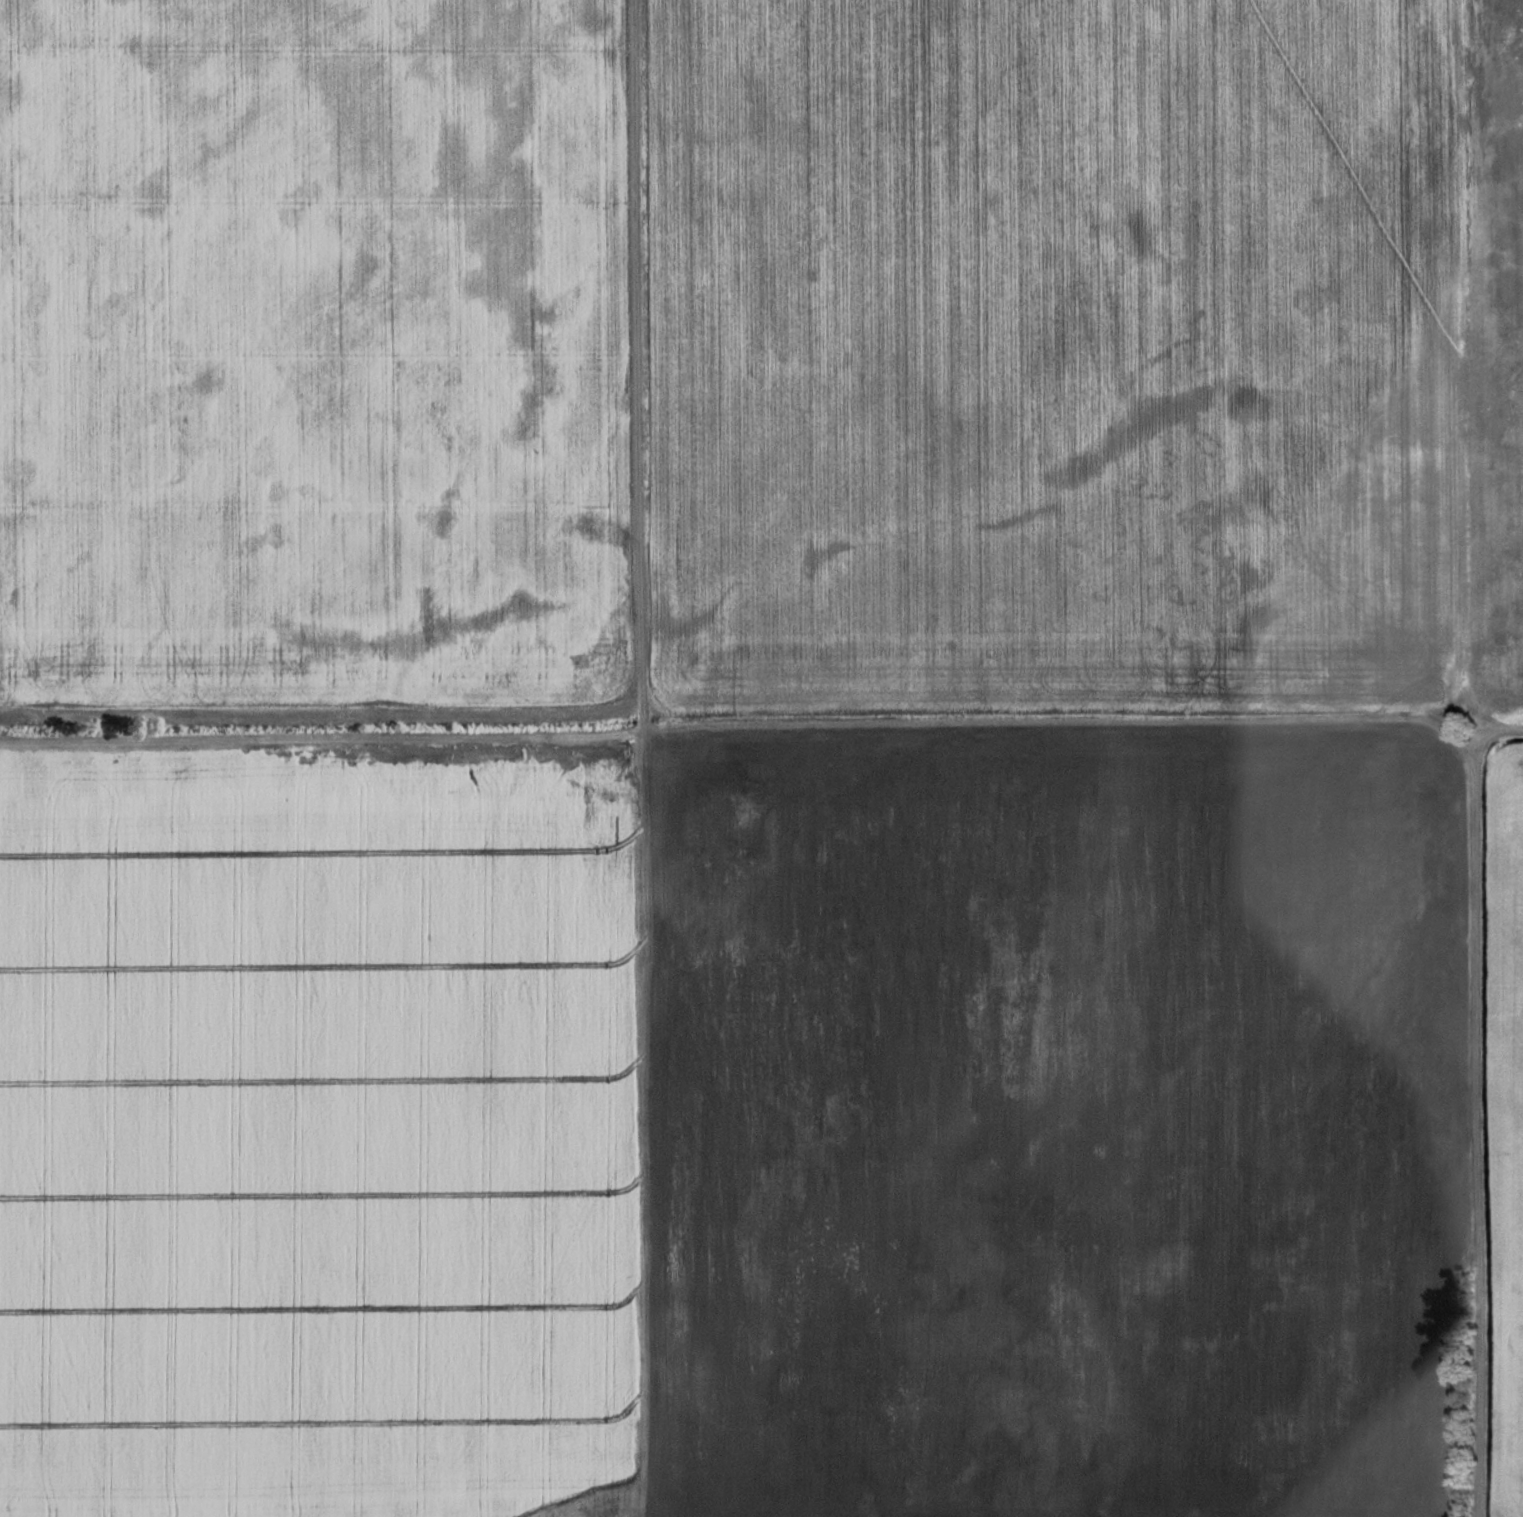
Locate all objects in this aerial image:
road: (639, 358)

